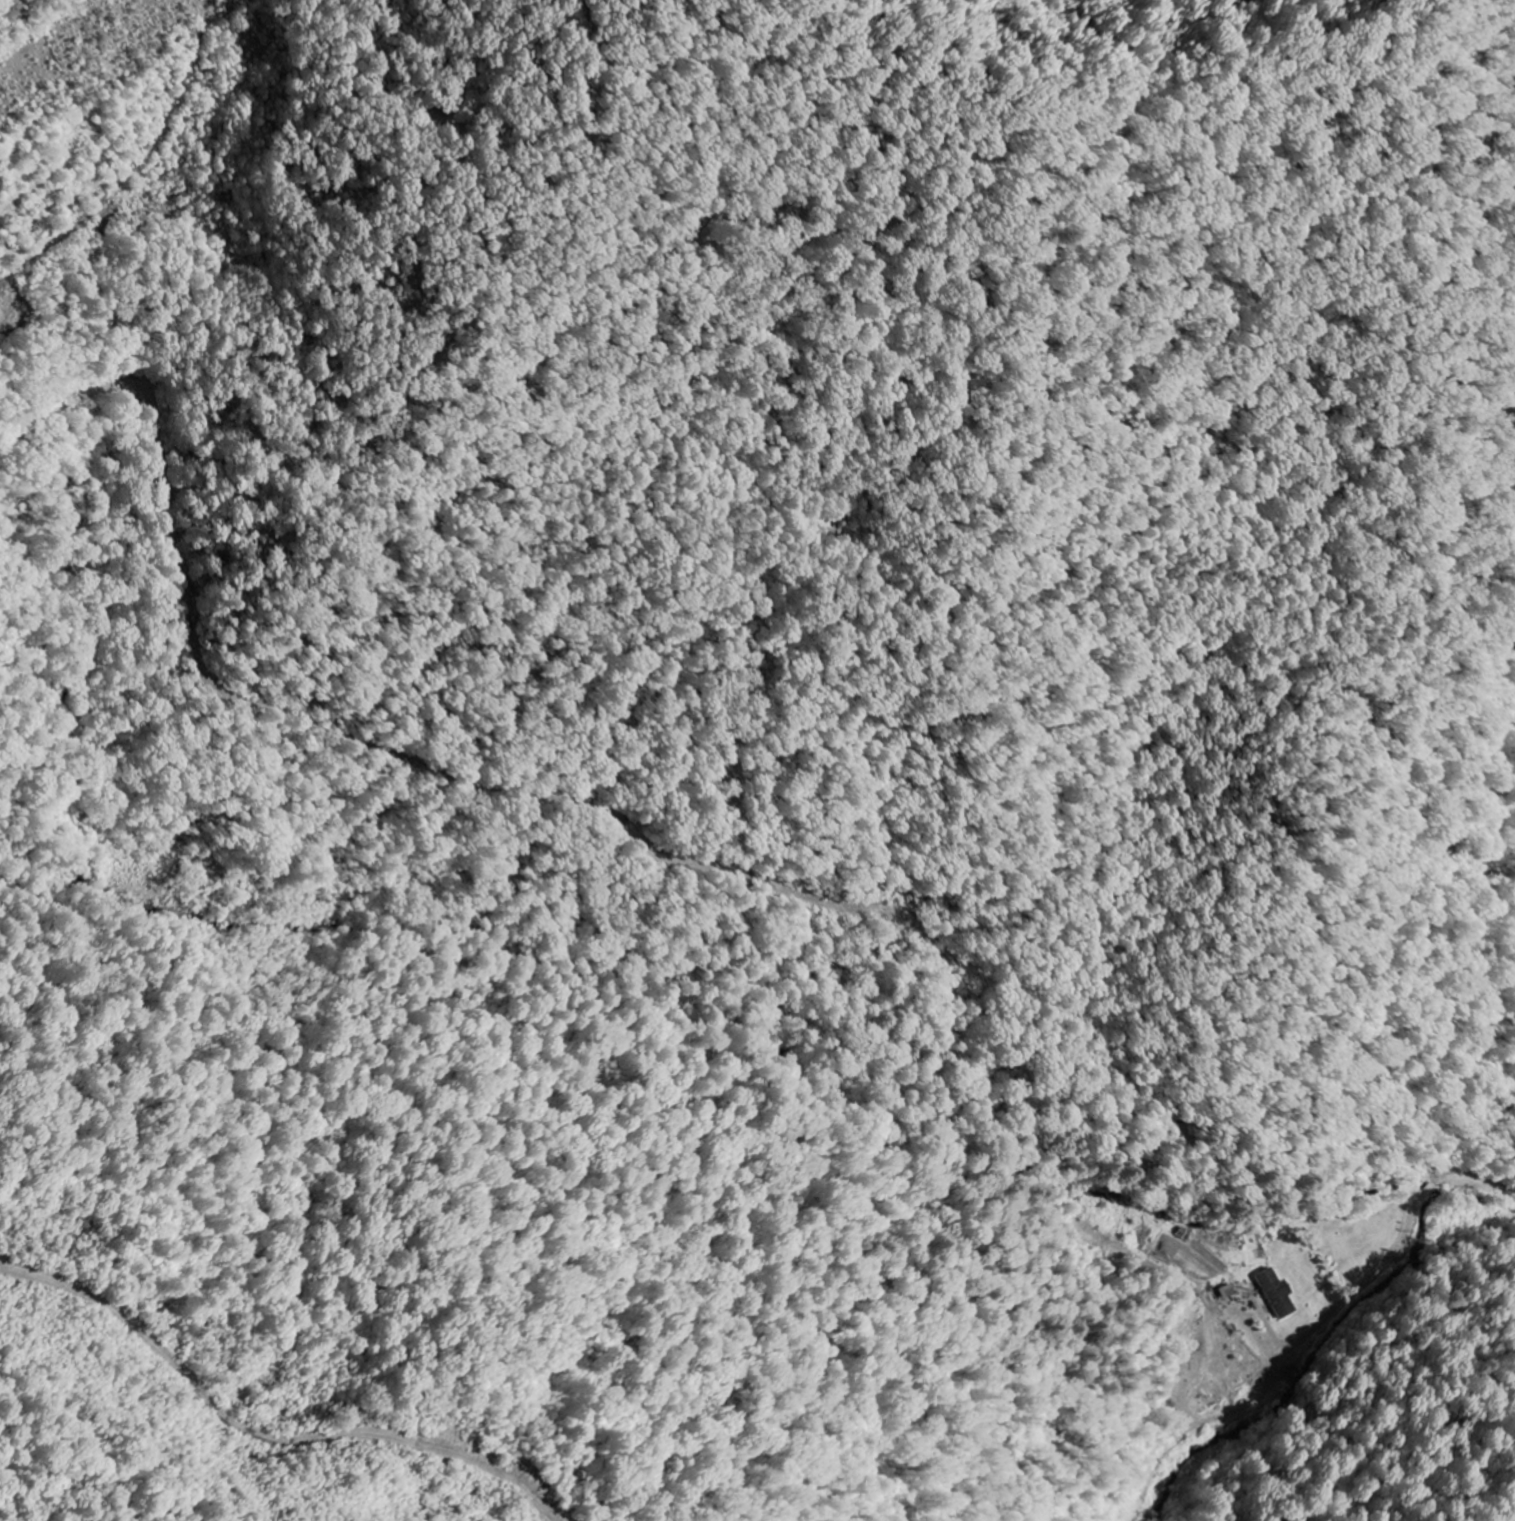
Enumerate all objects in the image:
building: (1273, 1293)
road: (1317, 1330)

